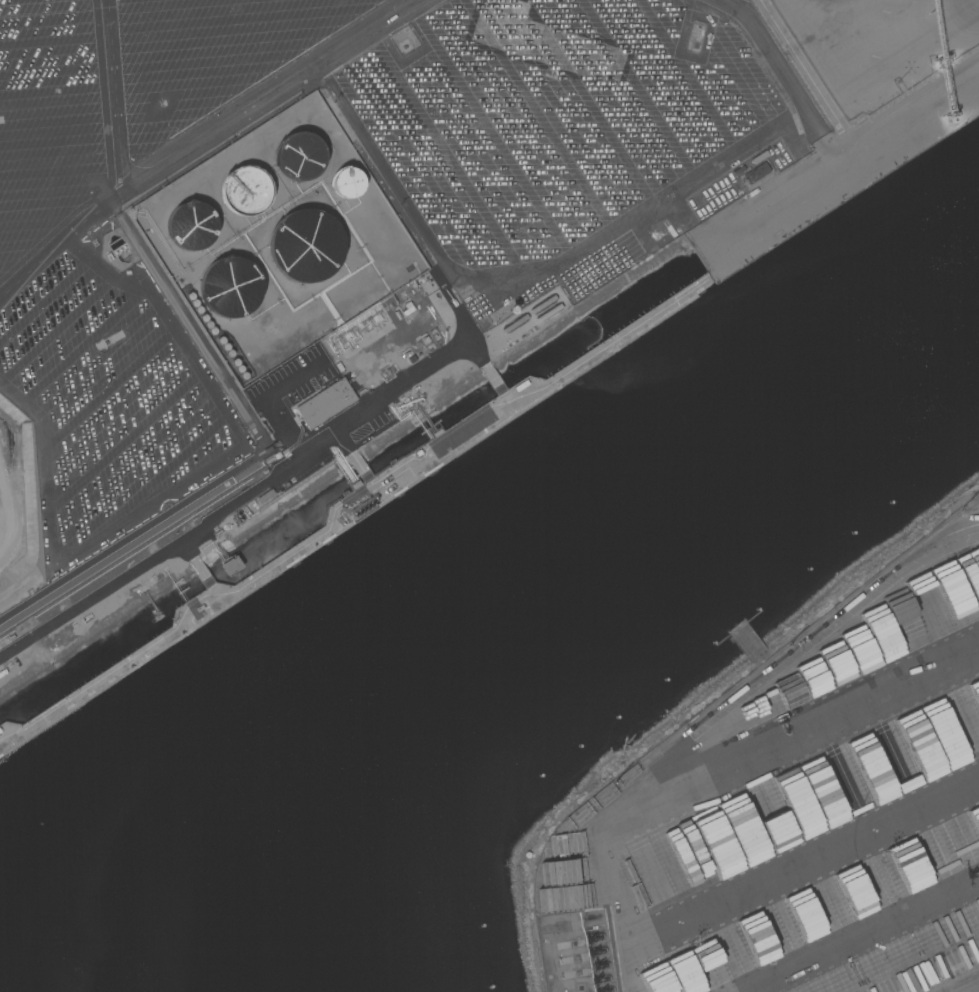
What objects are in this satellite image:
building: (546, 44)
road: (785, 80)
road: (183, 152)
road: (855, 153)
building: (299, 156)
road: (801, 156)
building: (756, 173)
building: (347, 182)
building: (244, 190)
building: (191, 226)
road: (691, 227)
road: (54, 245)
building: (305, 246)
road: (528, 270)
building: (229, 287)
building: (325, 403)
road: (259, 456)
road: (181, 483)
building: (360, 509)
building: (230, 565)
road: (719, 776)
building: (849, 788)
road: (799, 860)
road: (864, 936)
road: (971, 988)

